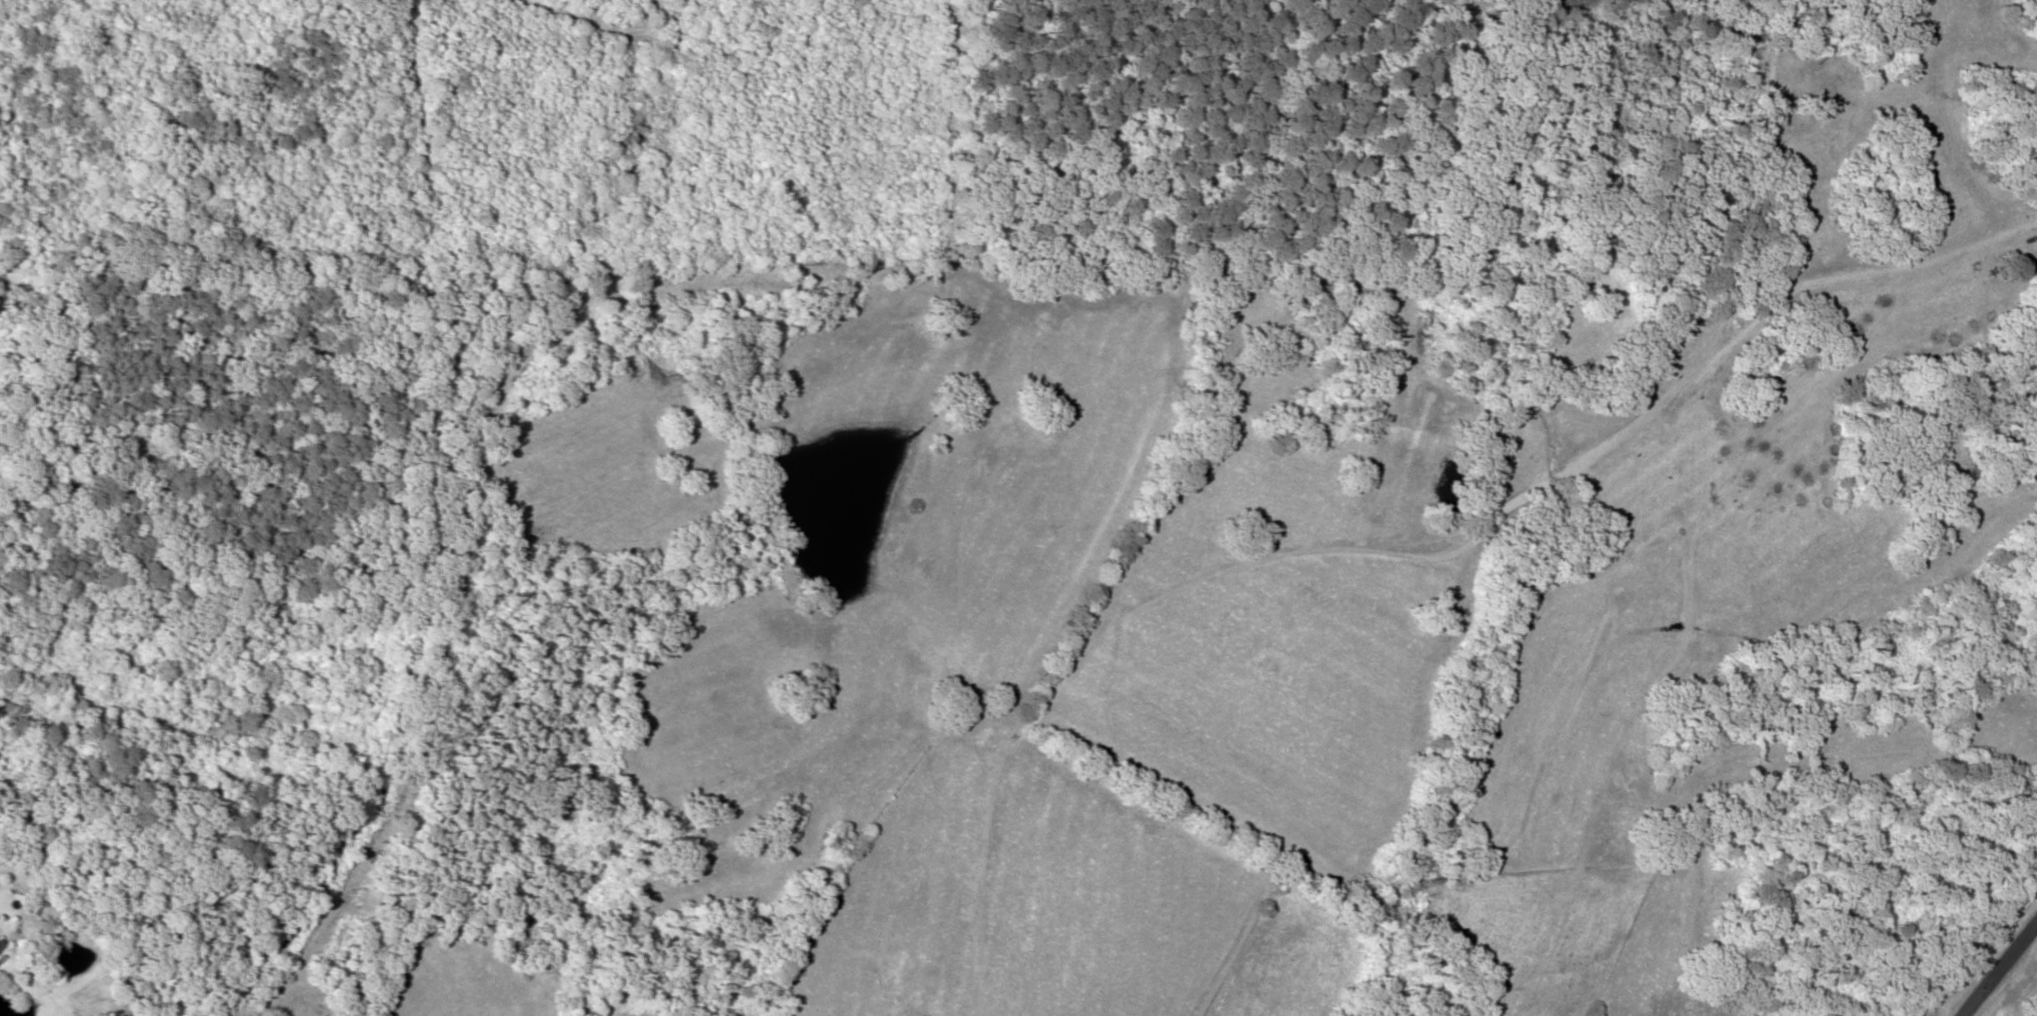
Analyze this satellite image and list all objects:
road: (1823, 461)
building: (0, 947)
road: (1998, 967)

